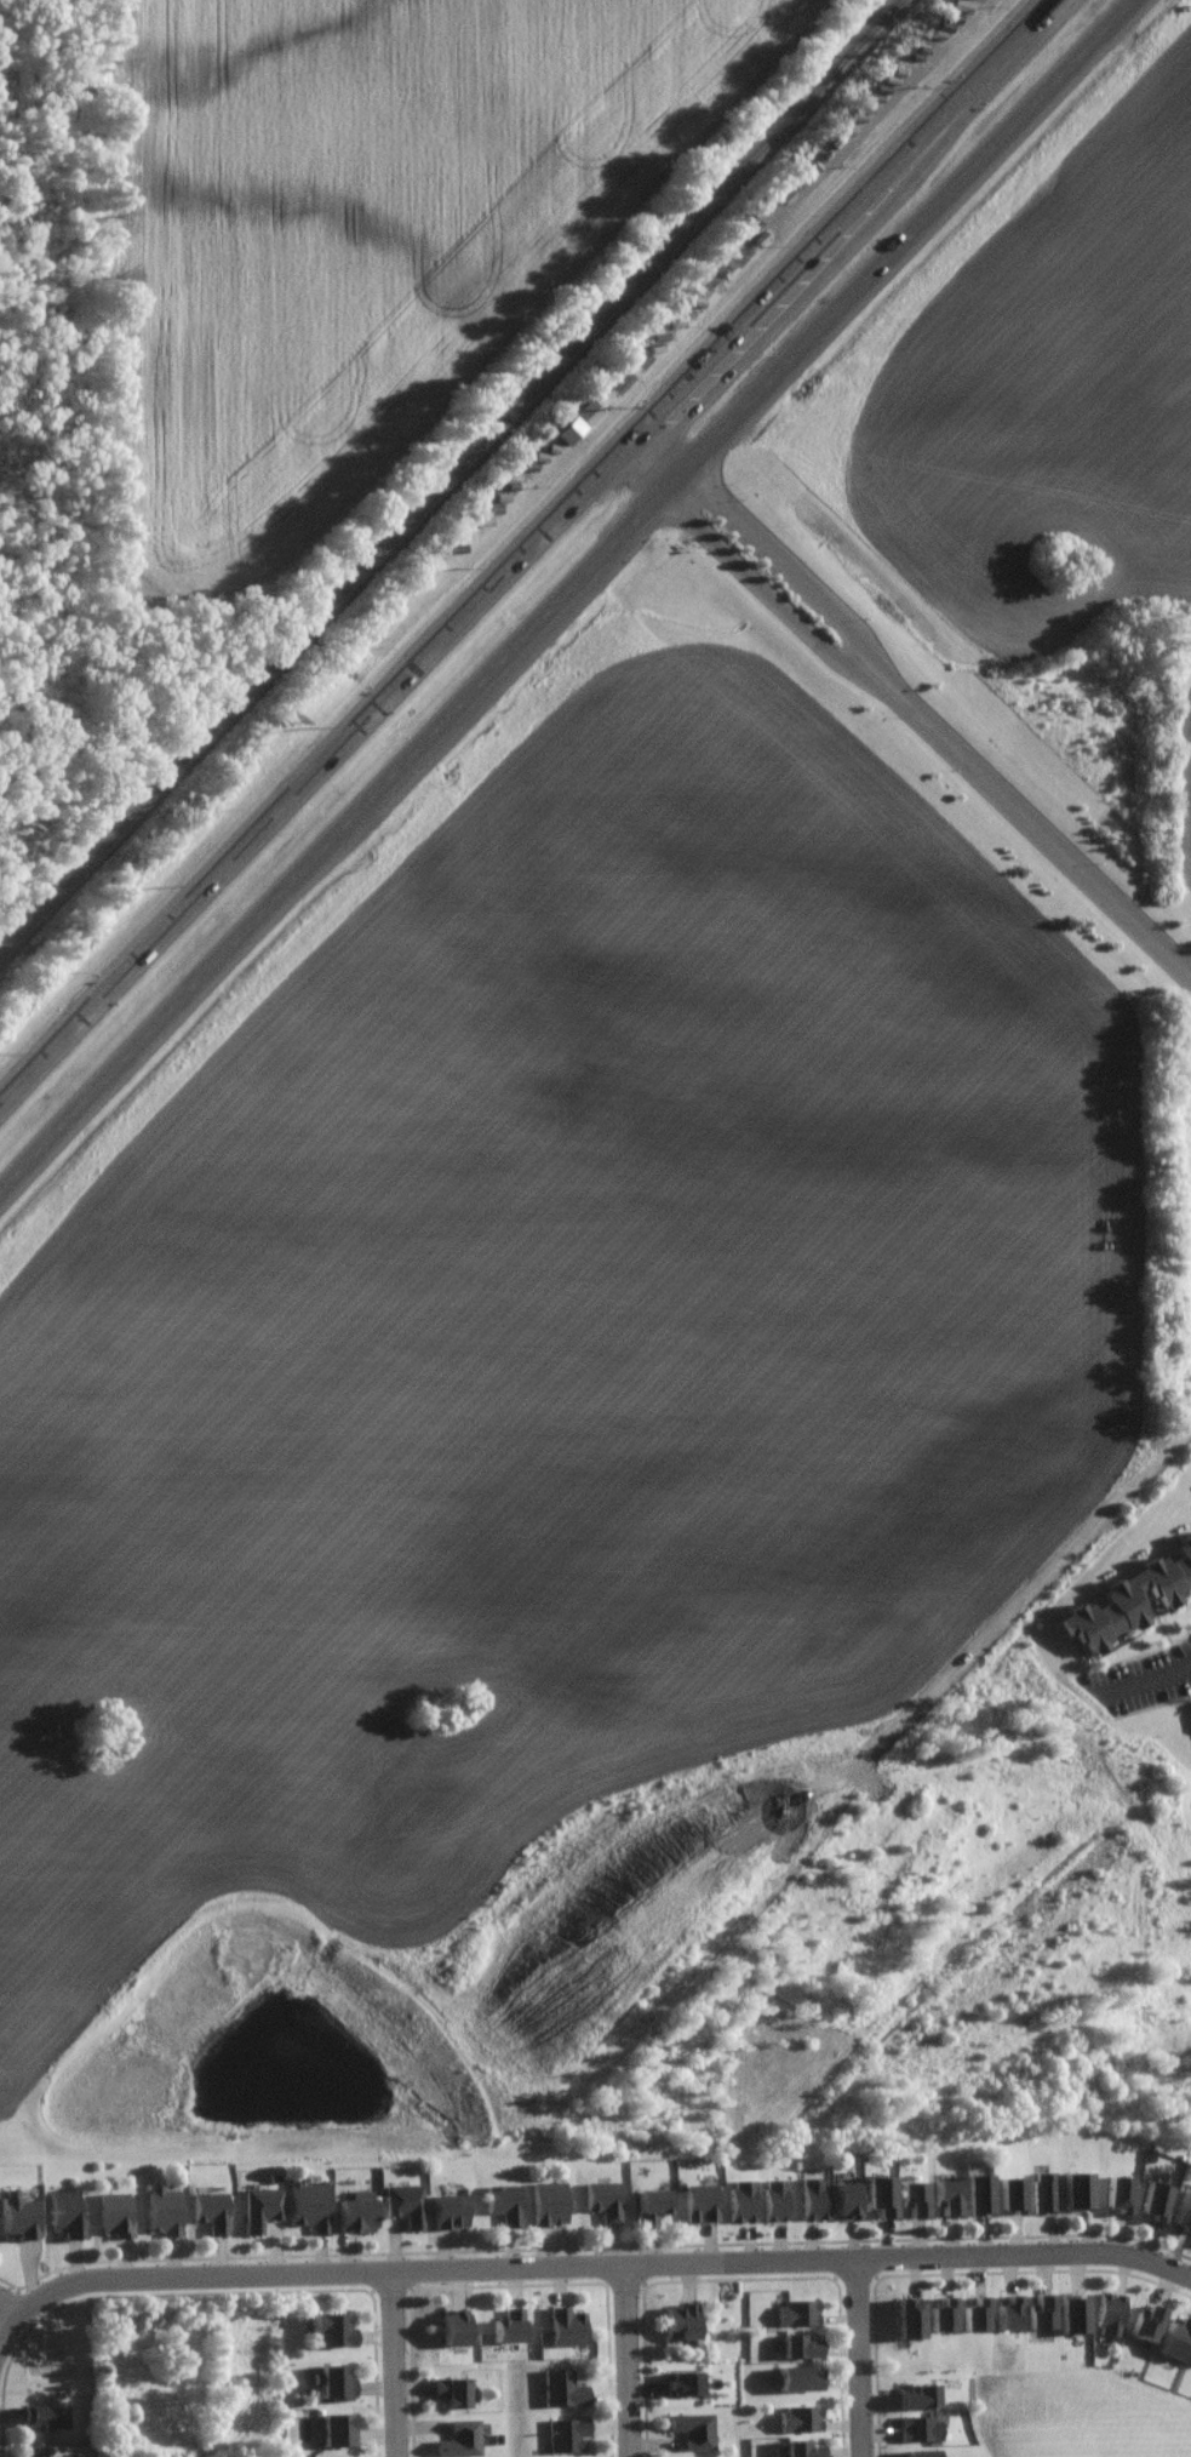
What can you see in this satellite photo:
building: (579, 422)
railway: (452, 476)
road: (526, 554)
road: (792, 564)
road: (765, 593)
road: (568, 594)
road: (1057, 846)
building: (1129, 1599)
road: (1150, 1682)
building: (1078, 2189)
building: (1044, 2193)
building: (1120, 2193)
building: (882, 2194)
building: (980, 2194)
building: (1014, 2194)
building: (947, 2196)
building: (814, 2198)
building: (914, 2198)
building: (1155, 2198)
building: (605, 2199)
building: (847, 2199)
building: (774, 2200)
building: (549, 2201)
building: (700, 2201)
building: (741, 2201)
building: (505, 2202)
building: (307, 2204)
building: (405, 2204)
building: (652, 2204)
building: (260, 2207)
building: (1184, 2209)
building: (164, 2210)
building: (448, 2210)
building: (211, 2211)
building: (356, 2211)
building: (67, 2213)
building: (115, 2213)
building: (18, 2216)
road: (601, 2267)
road: (8, 2309)
building: (797, 2312)
building: (1009, 2312)
building: (1042, 2312)
building: (1075, 2313)
building: (1110, 2313)
building: (944, 2314)
building: (977, 2314)
building: (909, 2316)
building: (680, 2320)
building: (1146, 2322)
building: (510, 2325)
building: (567, 2326)
building: (456, 2327)
building: (332, 2329)
road: (8, 2332)
building: (1175, 2337)
building: (801, 2345)
road: (860, 2359)
road: (628, 2361)
road: (394, 2365)
building: (798, 2377)
building: (334, 2381)
building: (682, 2383)
building: (562, 2388)
building: (452, 2390)
building: (920, 2395)
building: (46, 2416)
building: (802, 2417)
building: (920, 2427)
building: (694, 2428)
building: (339, 2429)
building: (567, 2434)
building: (460, 2439)
building: (803, 2449)
building: (40, 2452)
building: (921, 2453)

